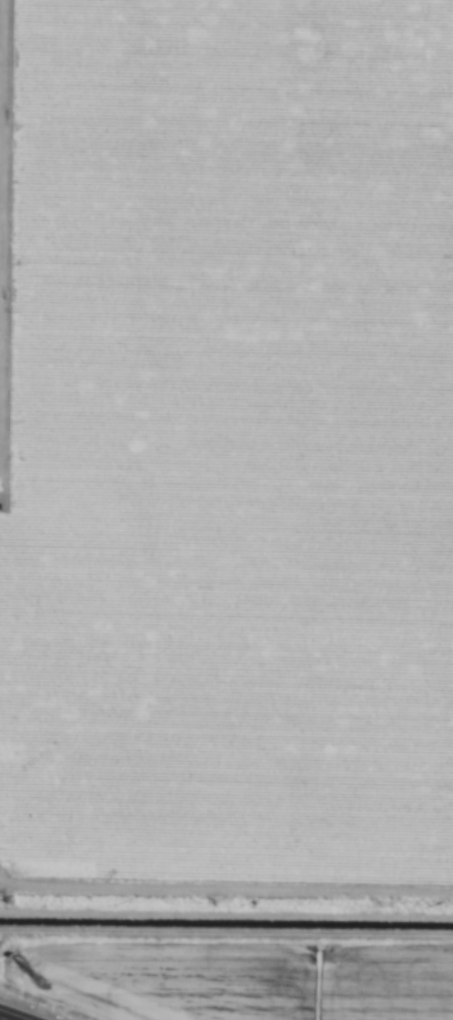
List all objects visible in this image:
railway: (226, 886)
road: (1, 1019)

